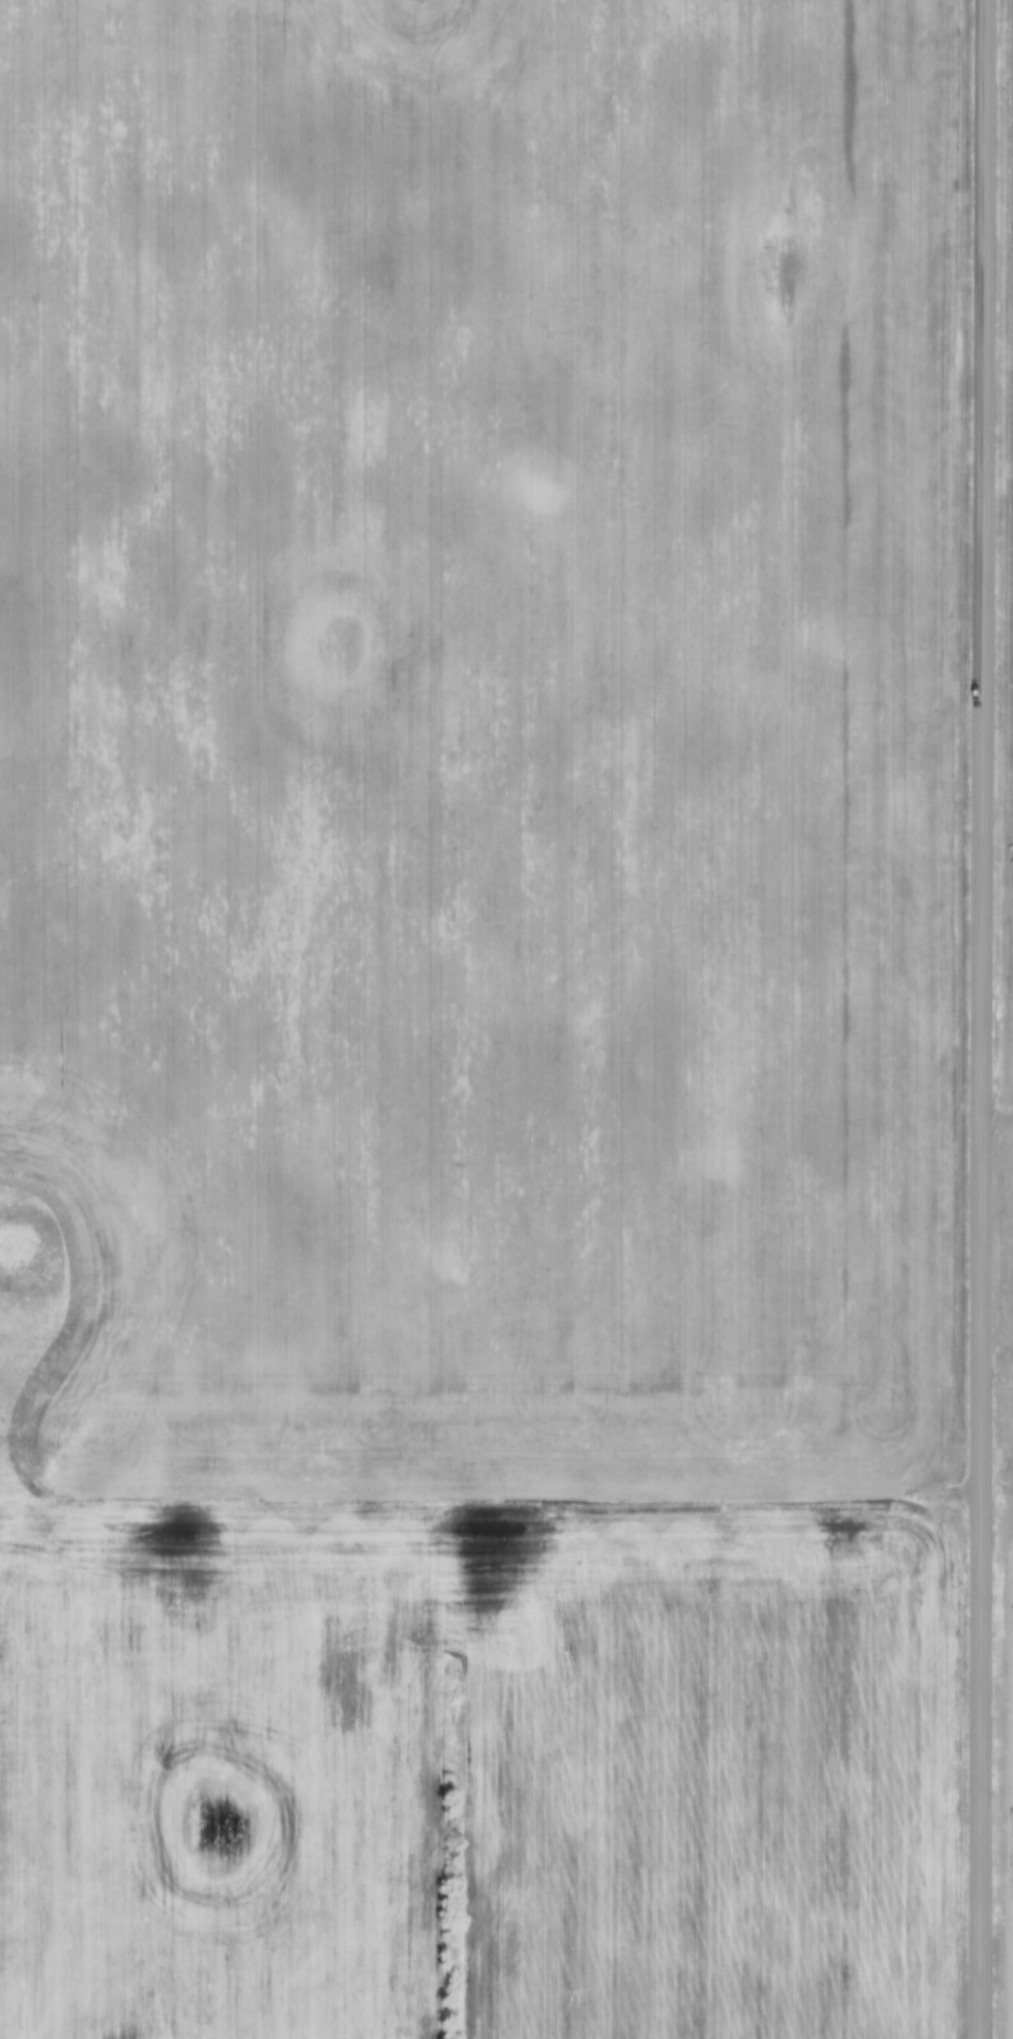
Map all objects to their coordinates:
road: (981, 1019)
road: (997, 1112)

